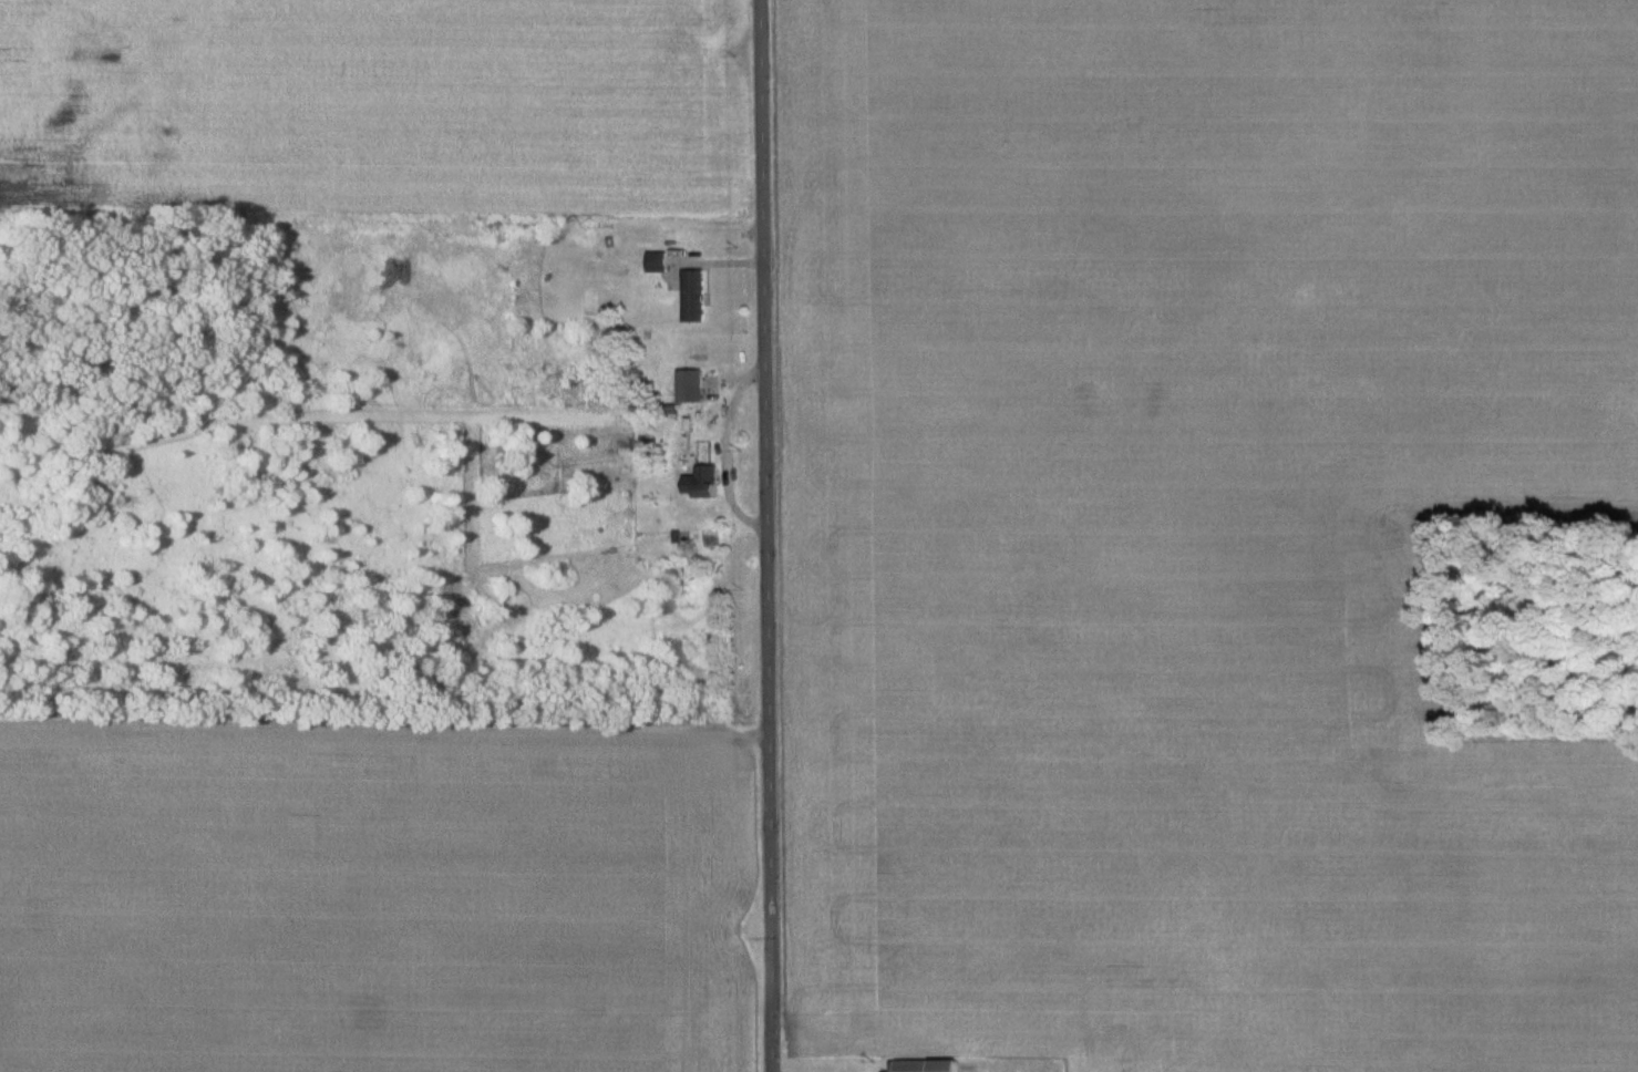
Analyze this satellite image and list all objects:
crop: (487, 105)
building: (657, 264)
building: (693, 297)
building: (690, 388)
building: (702, 484)
crop: (1196, 528)
road: (765, 536)
crop: (377, 895)
building: (925, 1066)

